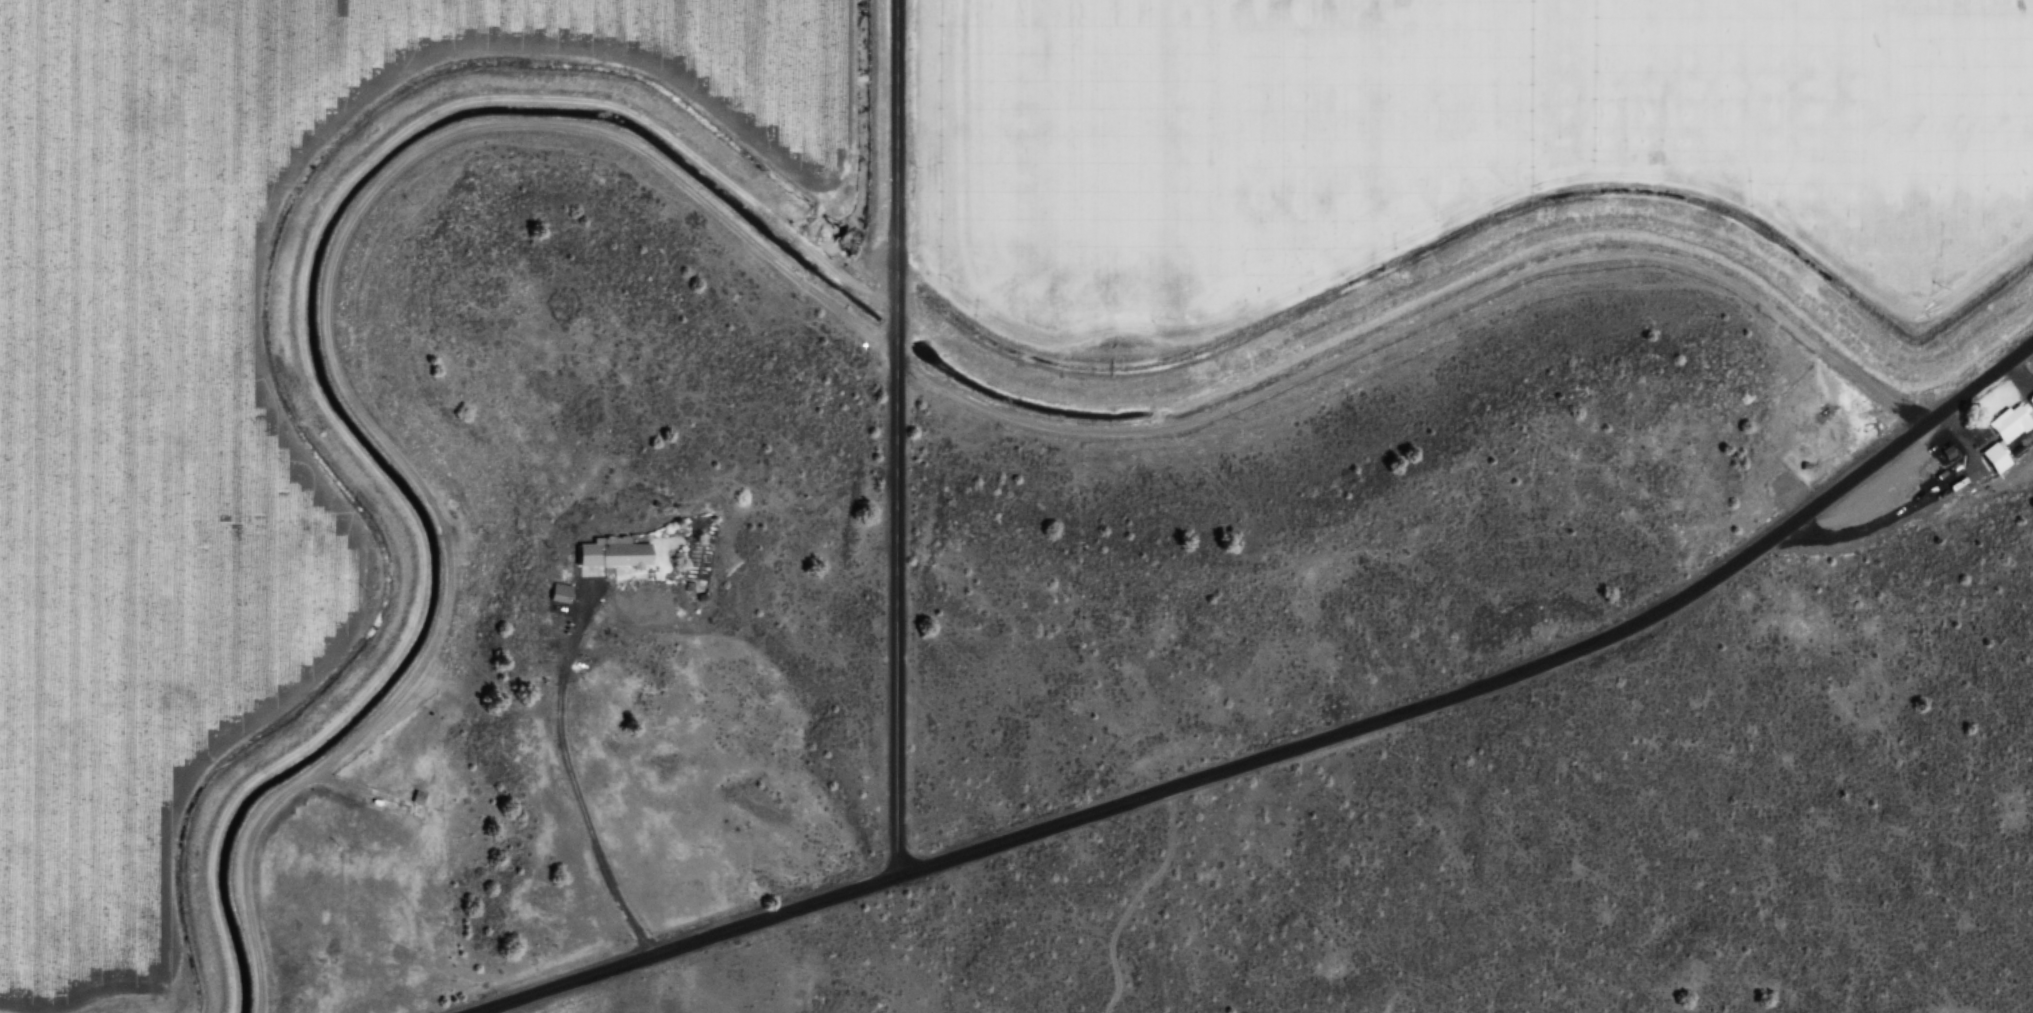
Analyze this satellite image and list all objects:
crop: (1442, 141)
crop: (220, 400)
building: (2009, 422)
road: (899, 437)
building: (1947, 452)
building: (616, 555)
building: (554, 592)
building: (563, 592)
road: (1291, 751)
road: (572, 782)
road: (1142, 901)

